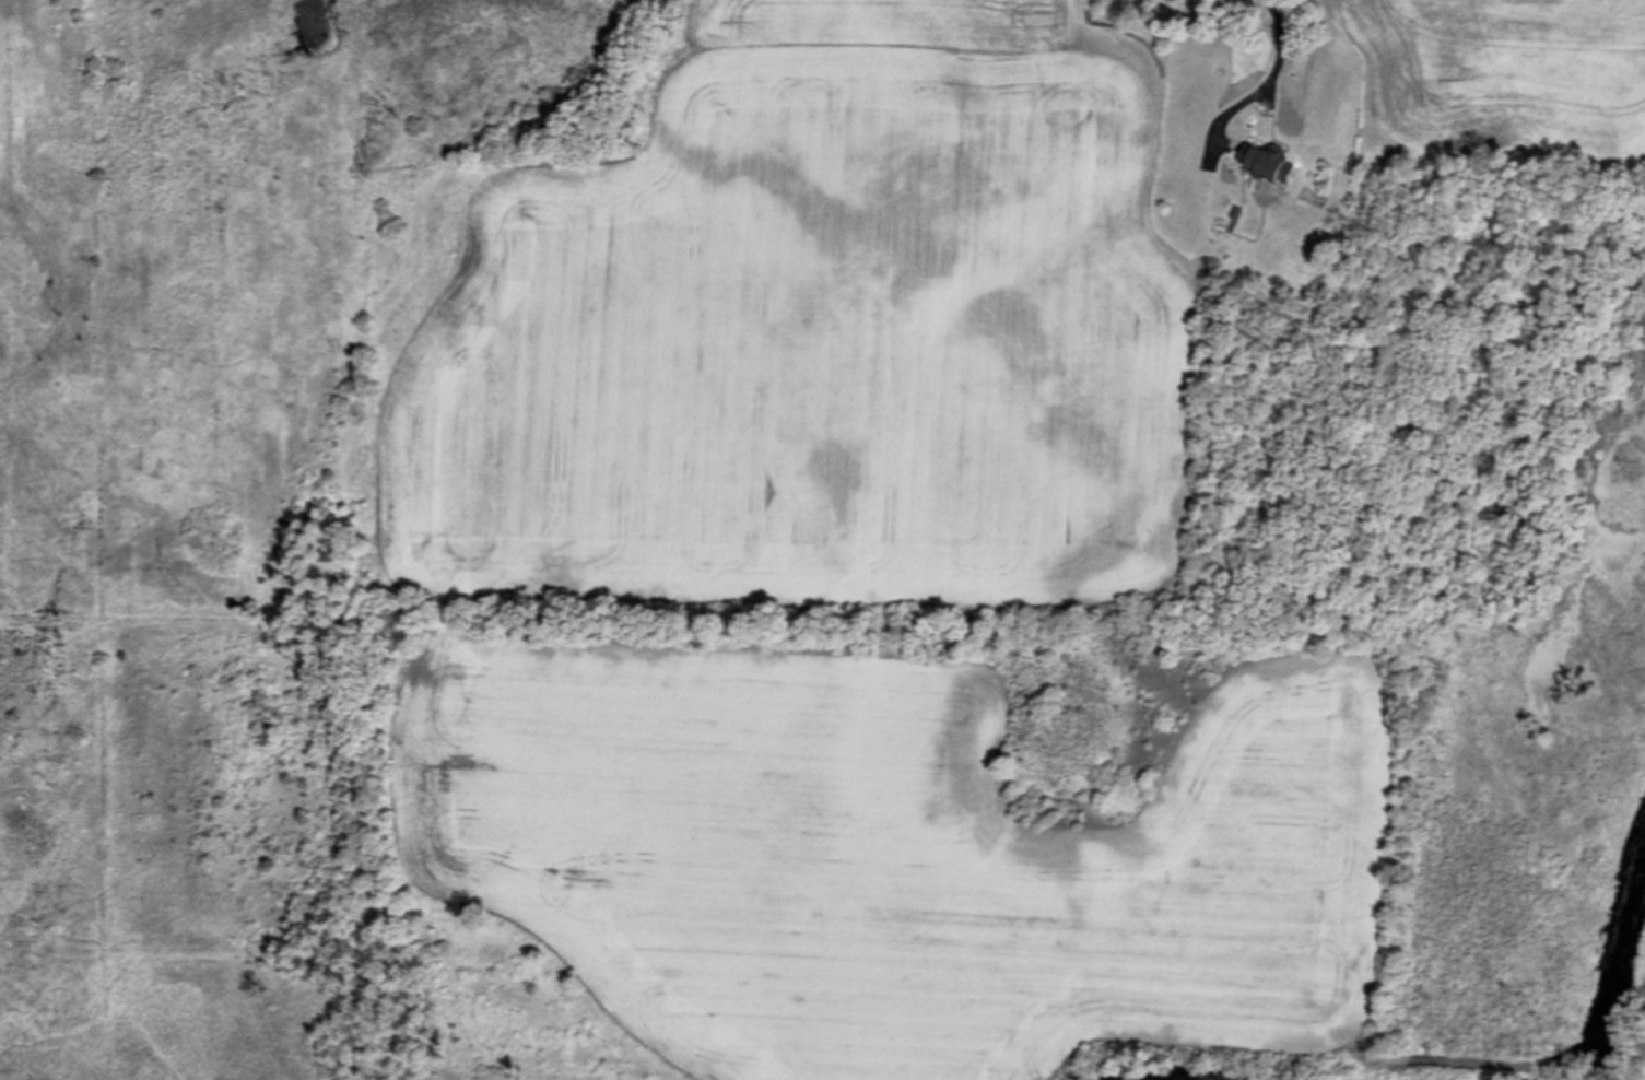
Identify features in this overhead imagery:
road: (1269, 90)
building: (1272, 165)
river: (1620, 978)

